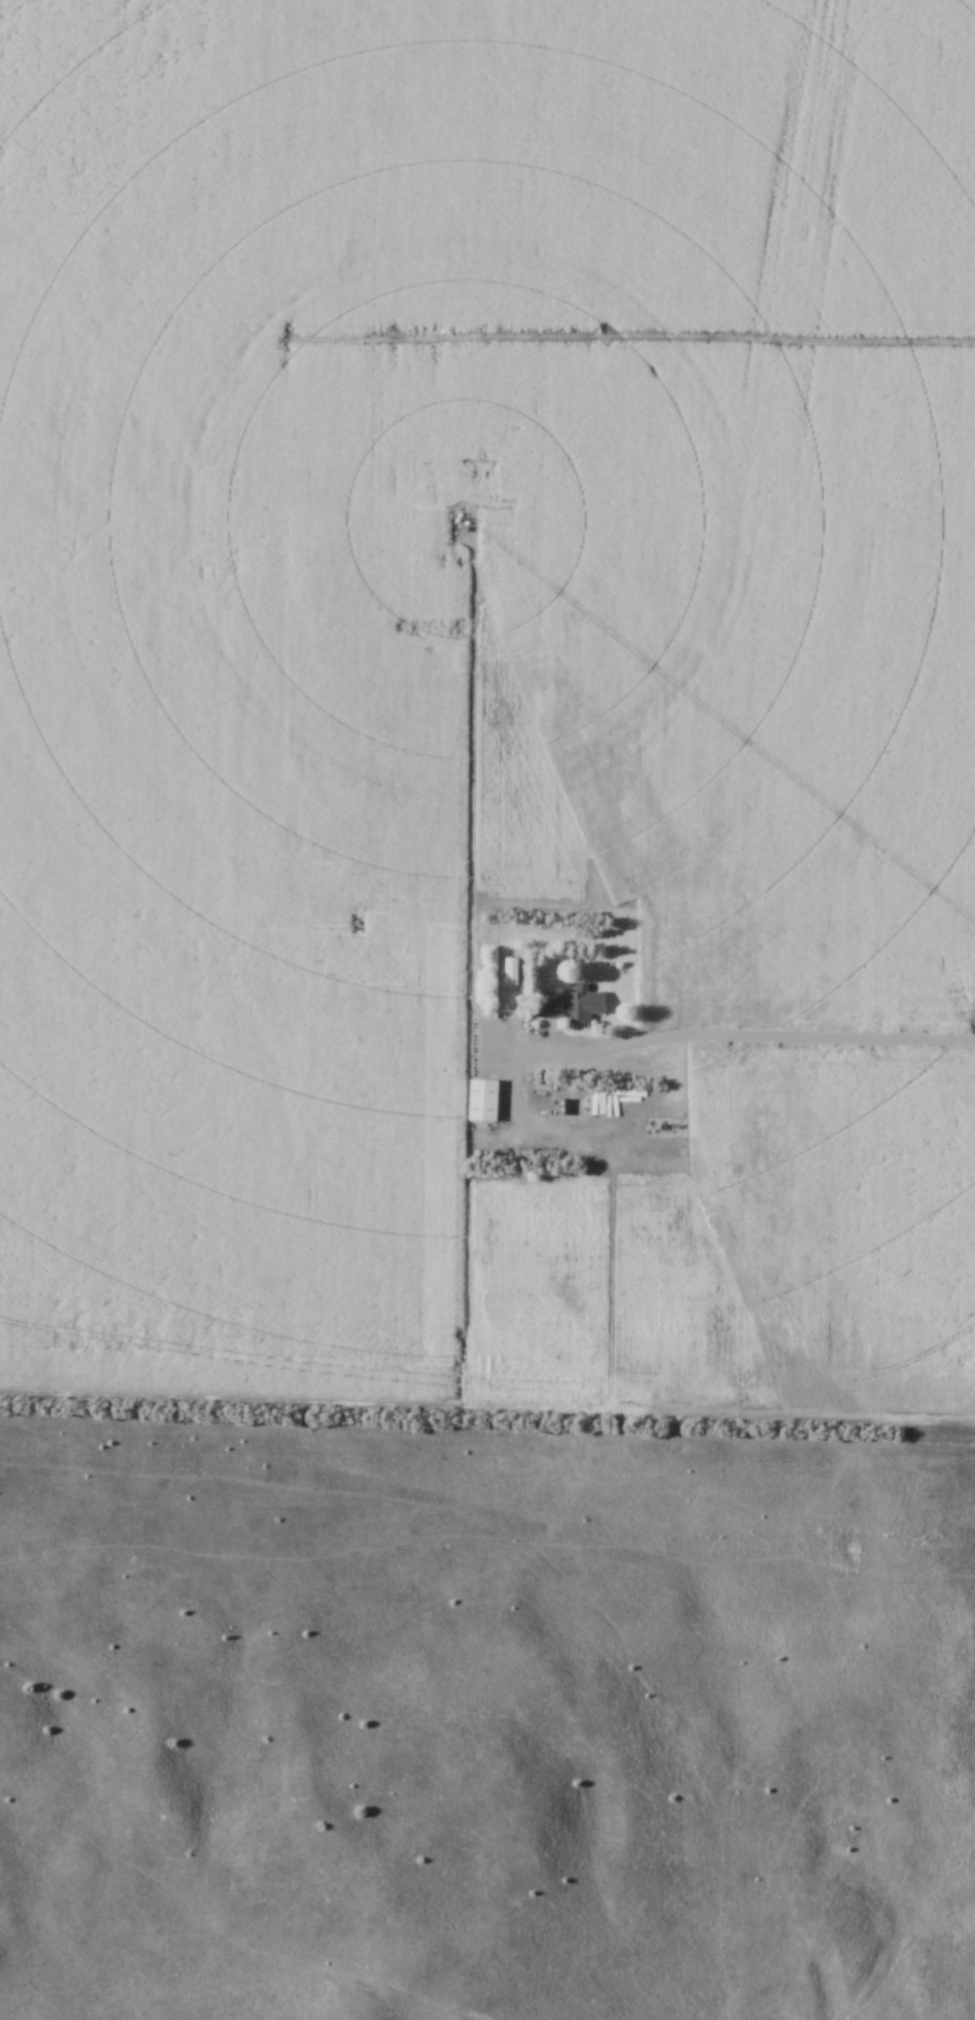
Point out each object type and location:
building: (365, 1007)
building: (573, 1007)
road: (763, 1038)
building: (413, 1064)
building: (444, 1080)
building: (484, 1101)
building: (593, 1107)

